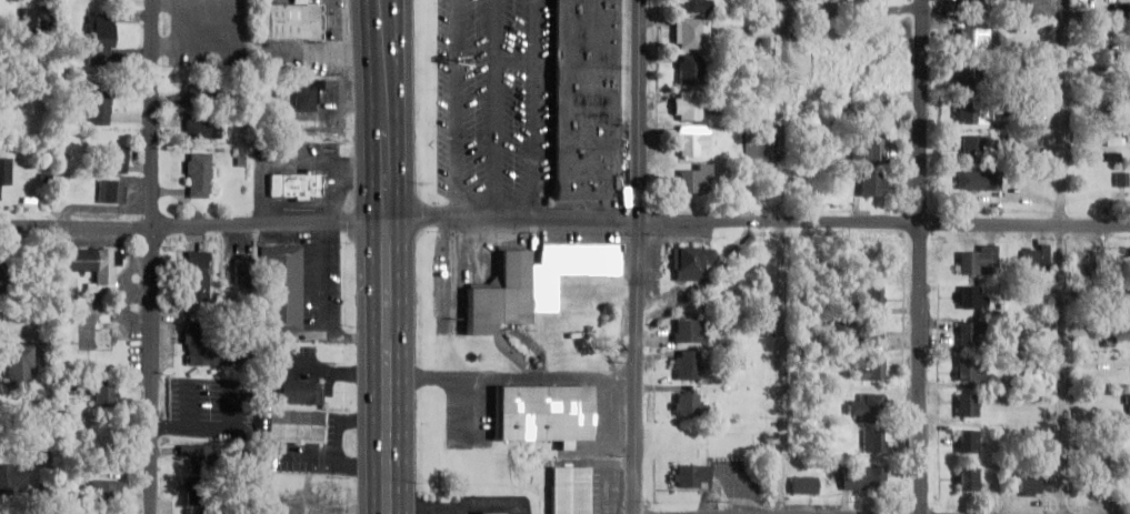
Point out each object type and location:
building: (693, 6)
building: (867, 7)
building: (974, 7)
building: (1120, 11)
building: (40, 18)
building: (292, 21)
road: (387, 29)
building: (691, 32)
building: (972, 39)
building: (102, 40)
road: (517, 62)
building: (690, 70)
building: (969, 75)
building: (8, 90)
building: (200, 93)
building: (309, 94)
building: (588, 97)
building: (101, 105)
road: (460, 109)
road: (494, 109)
building: (688, 109)
road: (538, 110)
road: (641, 111)
building: (970, 114)
building: (203, 127)
building: (691, 139)
road: (389, 140)
building: (1116, 140)
building: (760, 145)
building: (972, 145)
building: (869, 148)
building: (114, 159)
building: (6, 172)
building: (199, 174)
building: (698, 178)
building: (1123, 179)
building: (979, 180)
building: (870, 183)
building: (298, 185)
building: (112, 191)
road: (564, 220)
road: (152, 256)
road: (783, 256)
road: (920, 256)
road: (1062, 256)
building: (564, 259)
building: (1037, 259)
building: (980, 260)
building: (692, 261)
building: (92, 265)
building: (198, 275)
building: (4, 276)
road: (390, 278)
building: (282, 289)
building: (502, 295)
building: (872, 295)
building: (972, 296)
building: (692, 331)
building: (869, 332)
building: (973, 332)
building: (204, 346)
building: (689, 364)
building: (21, 366)
road: (641, 367)
building: (871, 369)
building: (972, 370)
building: (301, 390)
building: (103, 395)
building: (969, 404)
building: (691, 405)
building: (868, 405)
building: (1129, 406)
building: (548, 413)
building: (296, 423)
road: (389, 424)
building: (969, 441)
building: (874, 442)
building: (199, 457)
building: (13, 476)
building: (692, 476)
building: (969, 478)
building: (863, 480)
building: (1029, 484)
building: (804, 485)
building: (106, 490)
building: (573, 490)
building: (199, 498)
building: (496, 512)

